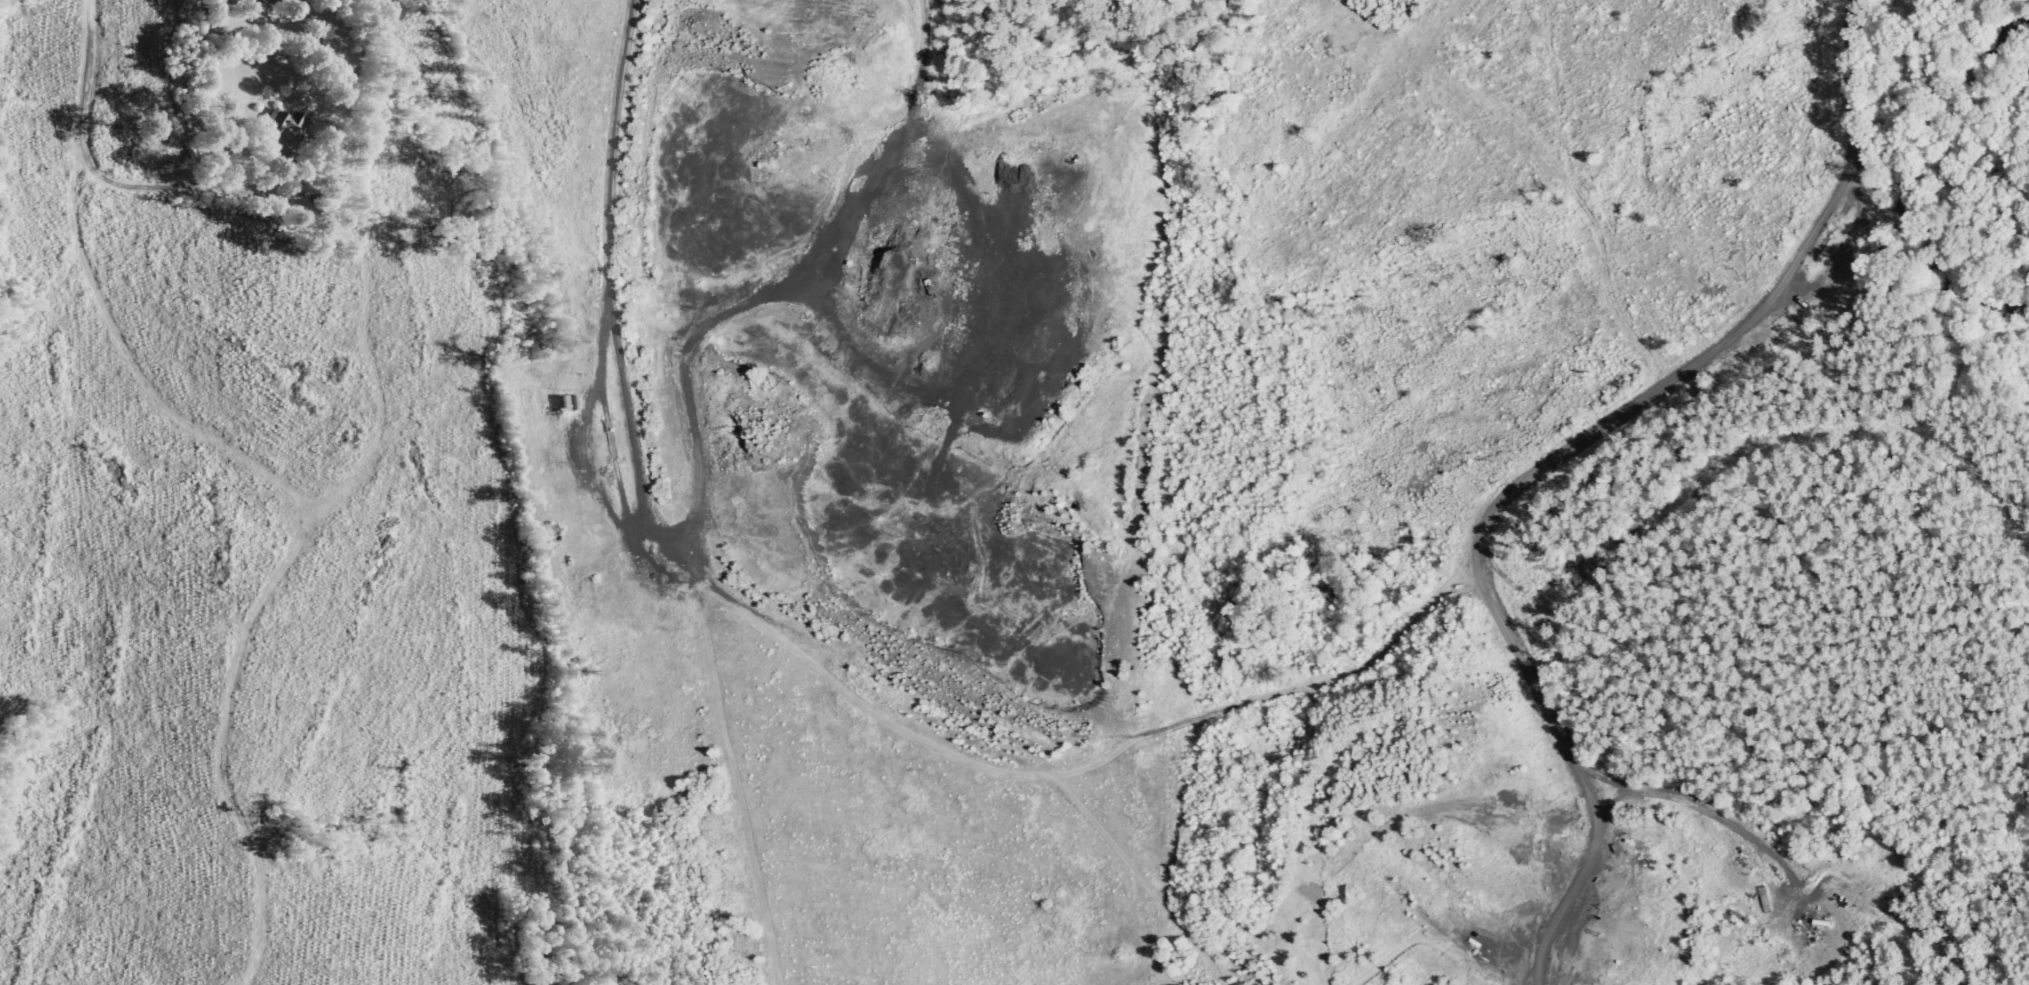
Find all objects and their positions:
road: (54, 147)
road: (1449, 503)

